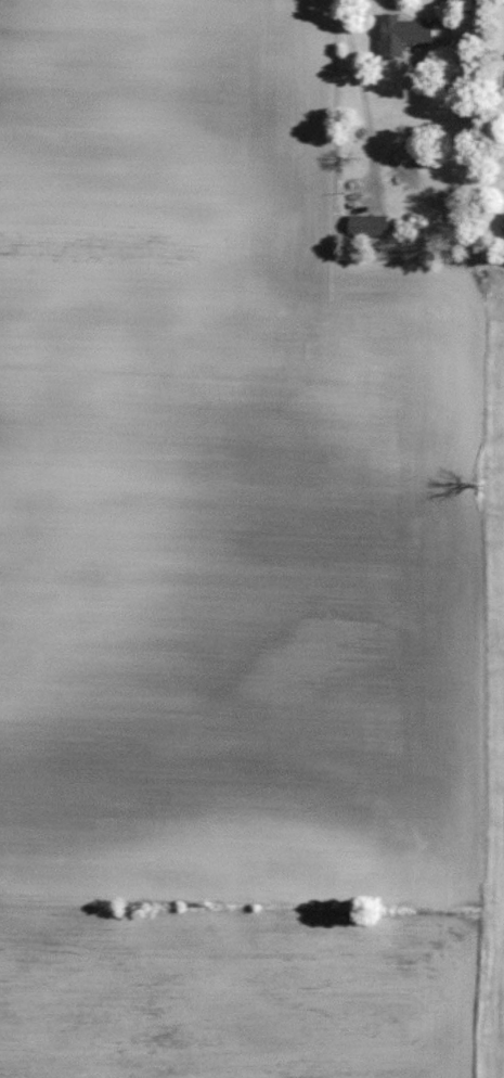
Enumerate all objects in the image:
building: (405, 35)
building: (371, 227)

